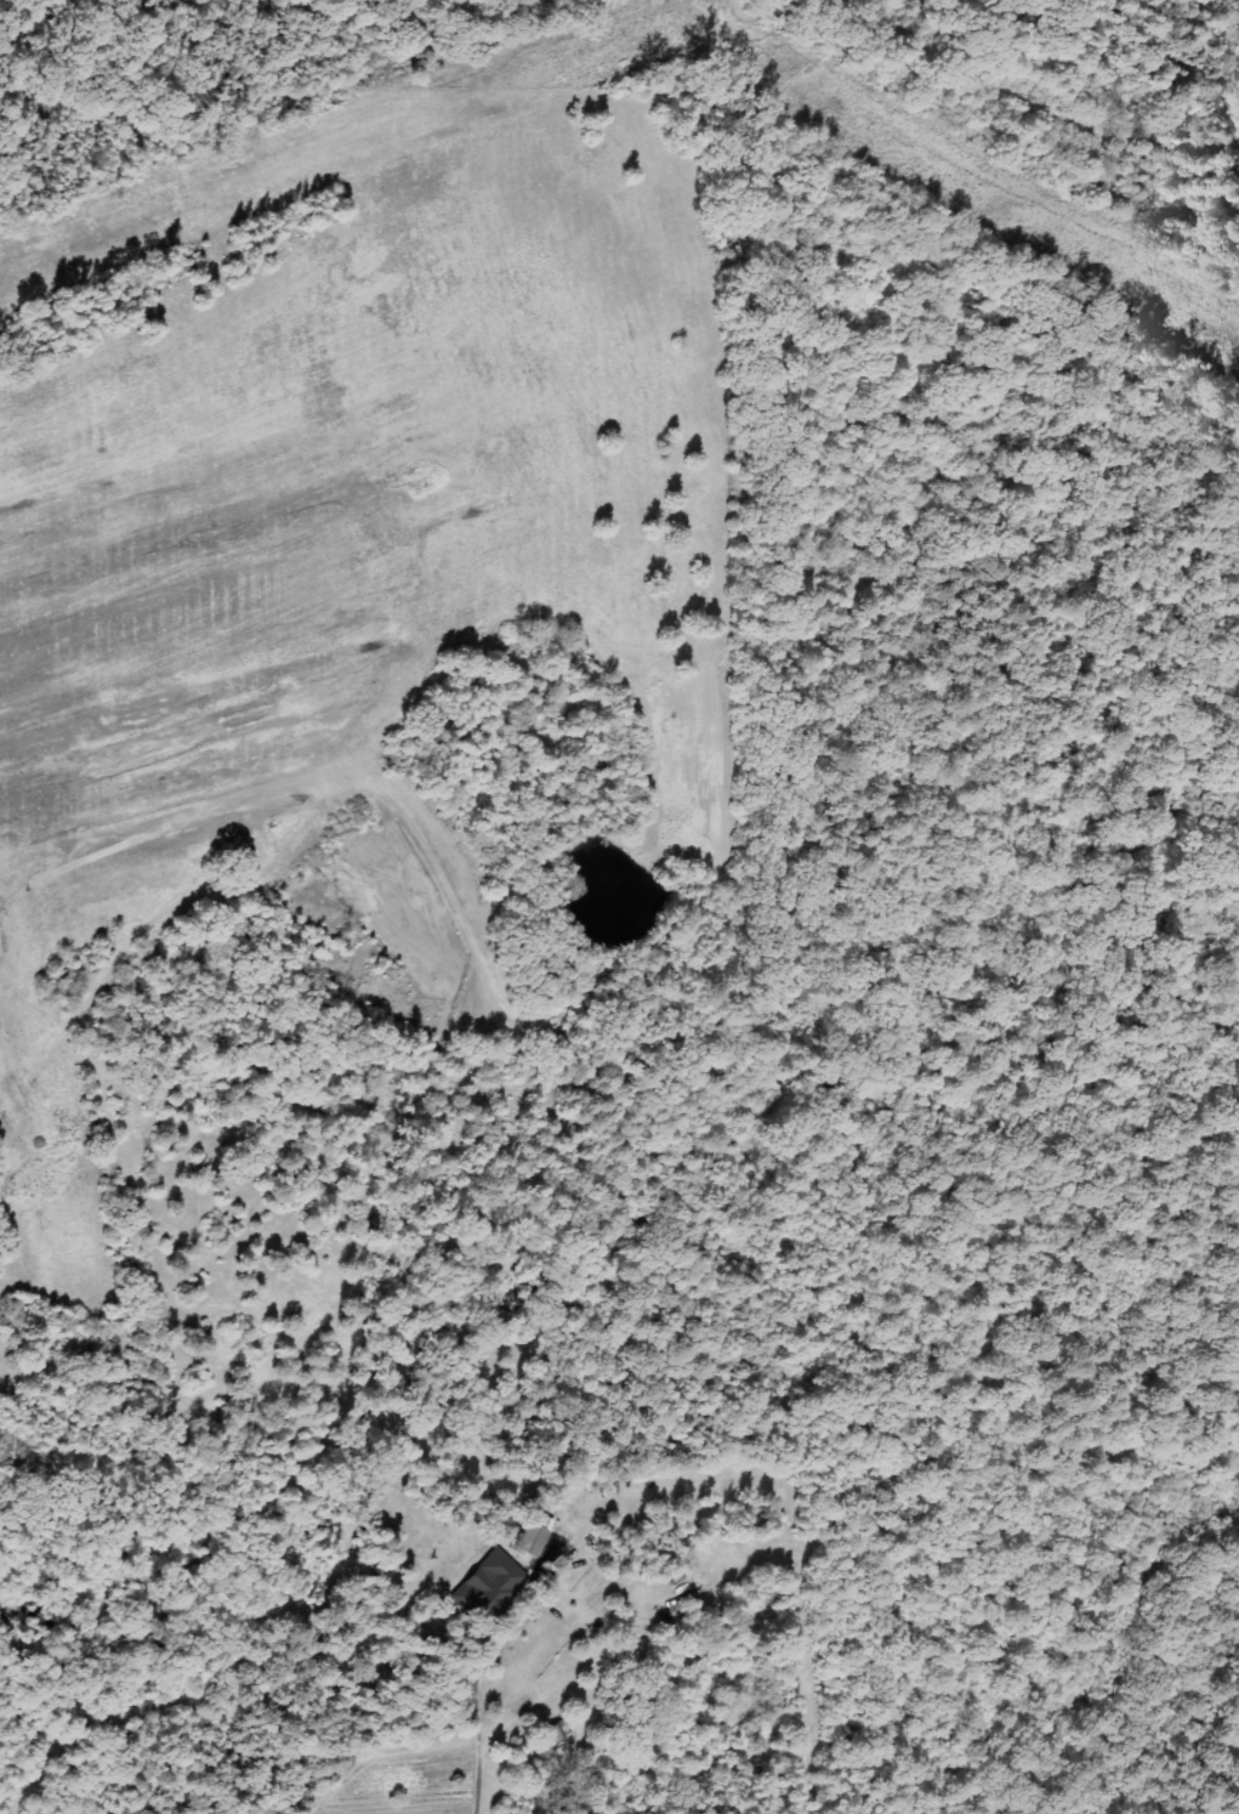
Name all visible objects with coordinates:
building: (536, 1536)
building: (489, 1582)

